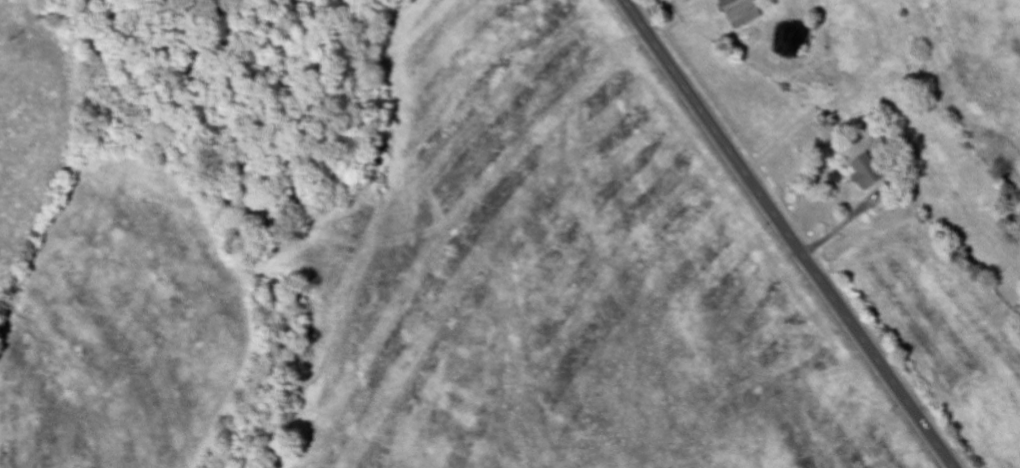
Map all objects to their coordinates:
building: (732, 13)
building: (859, 172)
road: (788, 234)

